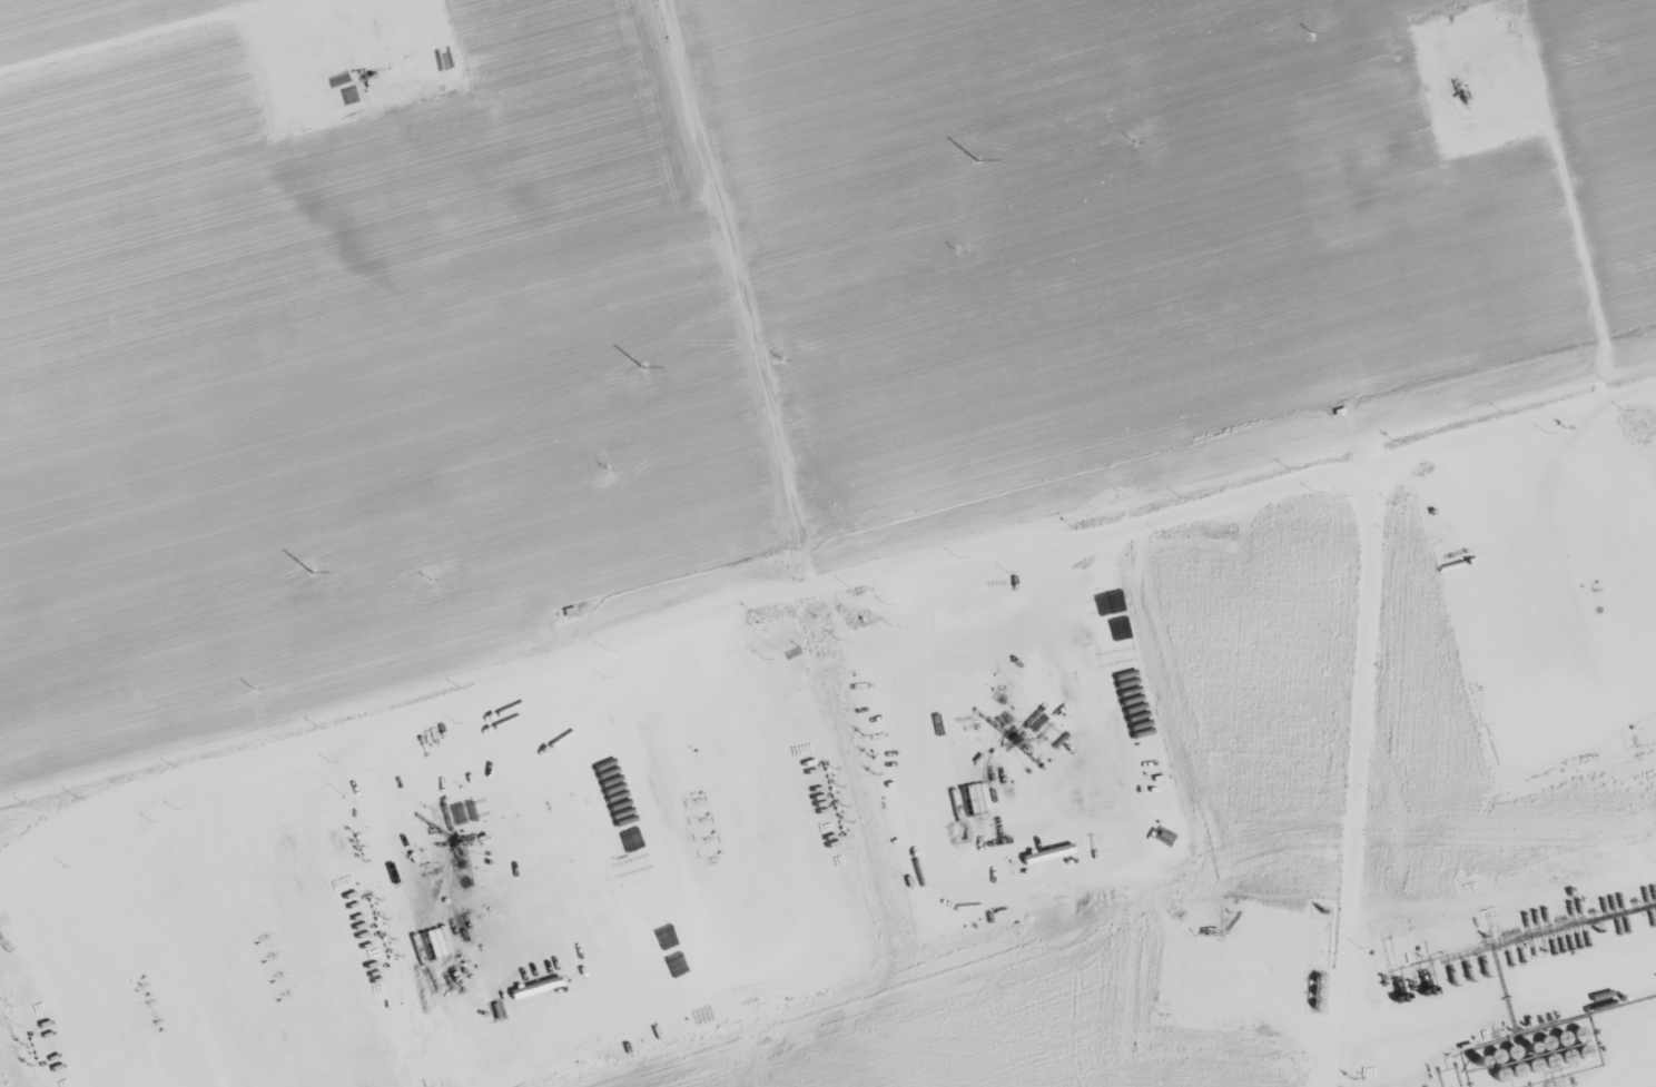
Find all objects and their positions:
power tower: (1311, 37)
power tower: (1134, 145)
power tower: (976, 160)
power tower: (957, 251)
power tower: (782, 360)
power tower: (641, 367)
power tower: (605, 471)
power tower: (313, 572)
power tower: (427, 581)
power tower: (253, 688)
power tower: (73, 797)
road: (889, 859)
road: (1568, 1034)

